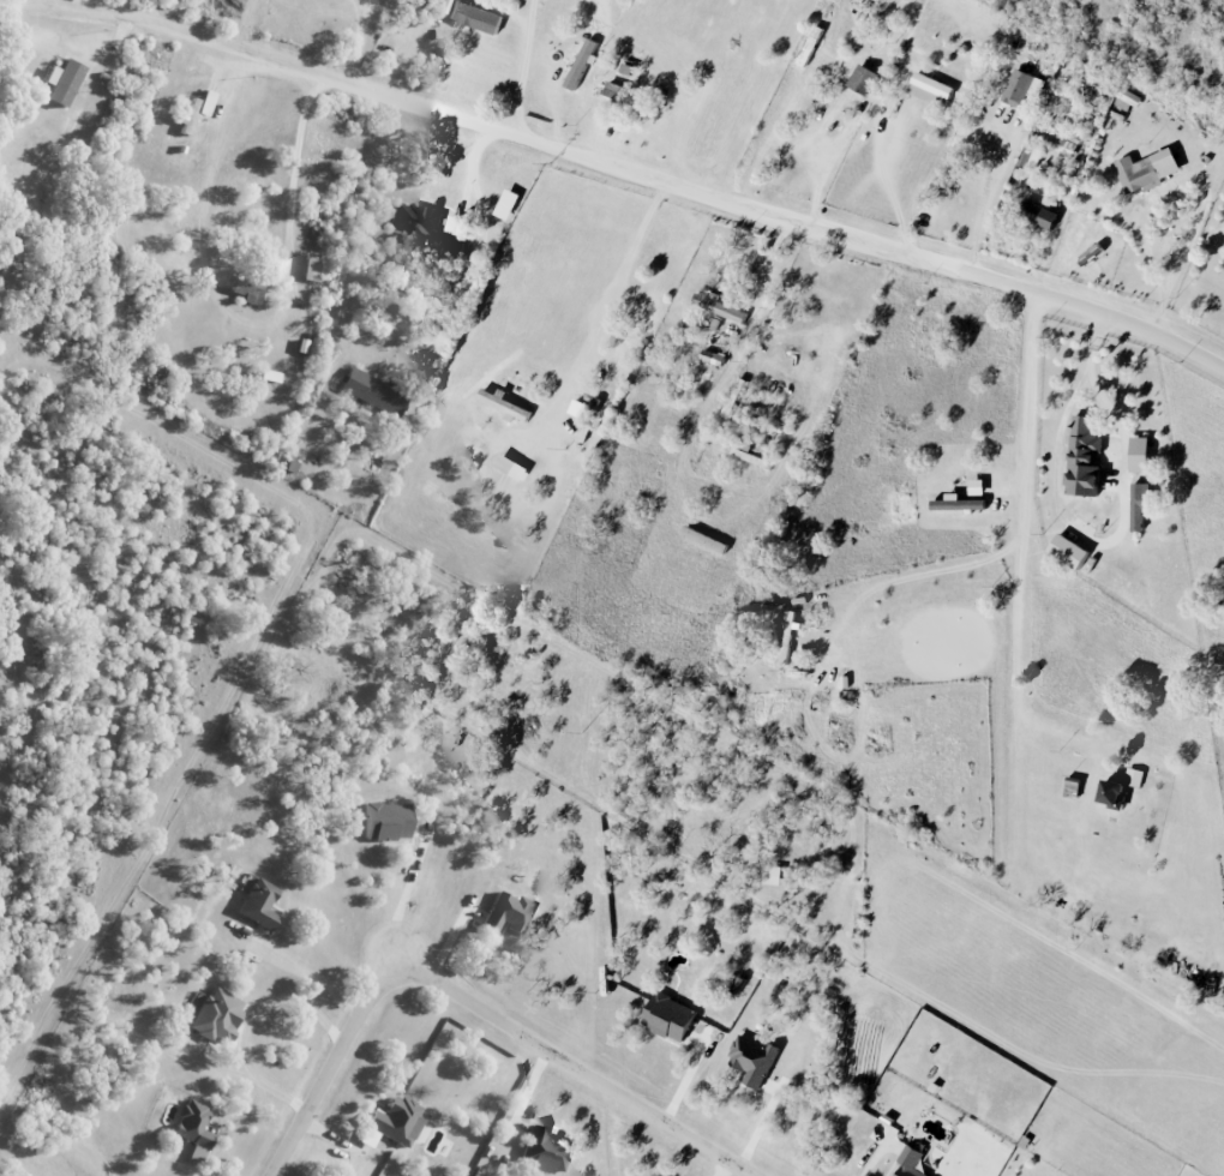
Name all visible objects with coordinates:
building: (473, 17)
road: (360, 41)
building: (582, 64)
road: (524, 66)
building: (864, 79)
building: (60, 82)
building: (1021, 88)
building: (930, 89)
building: (613, 90)
building: (1129, 97)
building: (196, 110)
road: (509, 130)
building: (1026, 155)
power tower: (553, 163)
road: (834, 163)
road: (887, 168)
road: (299, 170)
building: (1146, 170)
road: (985, 199)
building: (1037, 214)
building: (422, 228)
building: (312, 266)
building: (245, 289)
building: (49, 294)
building: (719, 307)
road: (1094, 311)
road: (601, 316)
building: (713, 356)
building: (269, 376)
building: (372, 392)
building: (734, 397)
building: (504, 404)
power tower: (569, 449)
building: (1139, 454)
building: (1082, 458)
building: (504, 463)
building: (956, 504)
building: (1139, 504)
road: (1022, 542)
building: (1067, 551)
road: (940, 570)
building: (786, 636)
power tower: (582, 733)
building: (1134, 776)
building: (1110, 793)
building: (384, 821)
building: (772, 875)
road: (400, 892)
building: (257, 902)
building: (506, 912)
road: (306, 979)
power tower: (600, 991)
building: (215, 1014)
building: (667, 1016)
road: (250, 1021)
building: (752, 1060)
road: (331, 1064)
road: (576, 1064)
building: (395, 1120)
building: (193, 1128)
building: (544, 1150)
building: (908, 1163)

